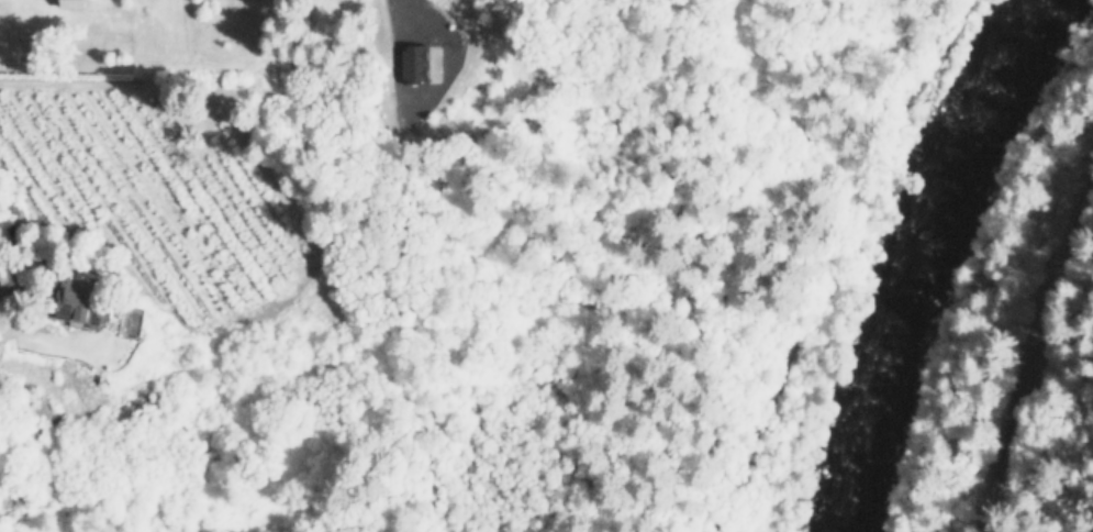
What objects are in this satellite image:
building: (74, 3)
building: (415, 64)
river: (929, 261)
road: (839, 266)
road: (839, 266)
building: (81, 303)
railway: (1024, 335)

